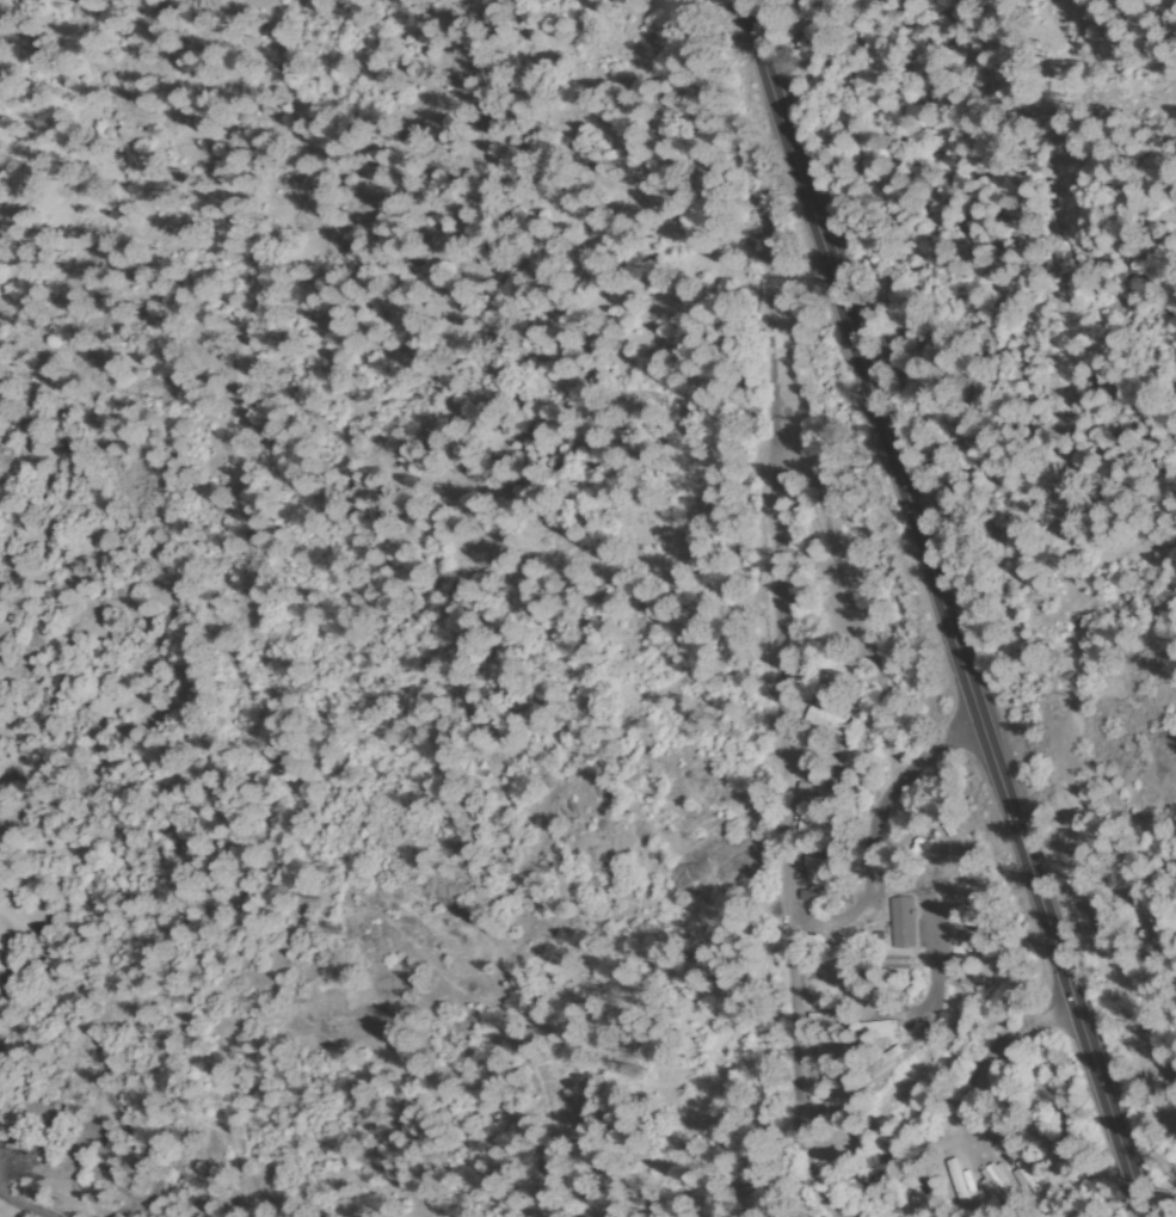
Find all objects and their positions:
road: (1156, 93)
road: (105, 197)
road: (251, 349)
road: (942, 608)
road: (864, 634)
building: (824, 676)
road: (253, 724)
building: (826, 724)
building: (823, 752)
building: (823, 789)
building: (946, 819)
building: (823, 829)
road: (878, 841)
road: (790, 850)
building: (913, 853)
building: (825, 856)
road: (638, 889)
building: (825, 896)
building: (962, 910)
building: (904, 922)
building: (974, 935)
building: (838, 954)
building: (892, 963)
building: (832, 983)
building: (974, 983)
building: (876, 1003)
building: (954, 1014)
building: (831, 1019)
building: (880, 1028)
building: (837, 1049)
road: (990, 1049)
building: (882, 1063)
building: (837, 1083)
building: (995, 1086)
building: (886, 1104)
building: (985, 1108)
building: (833, 1115)
building: (1010, 1138)
building: (846, 1148)
building: (872, 1170)
building: (1030, 1175)
building: (959, 1181)
building: (998, 1184)
building: (918, 1187)

